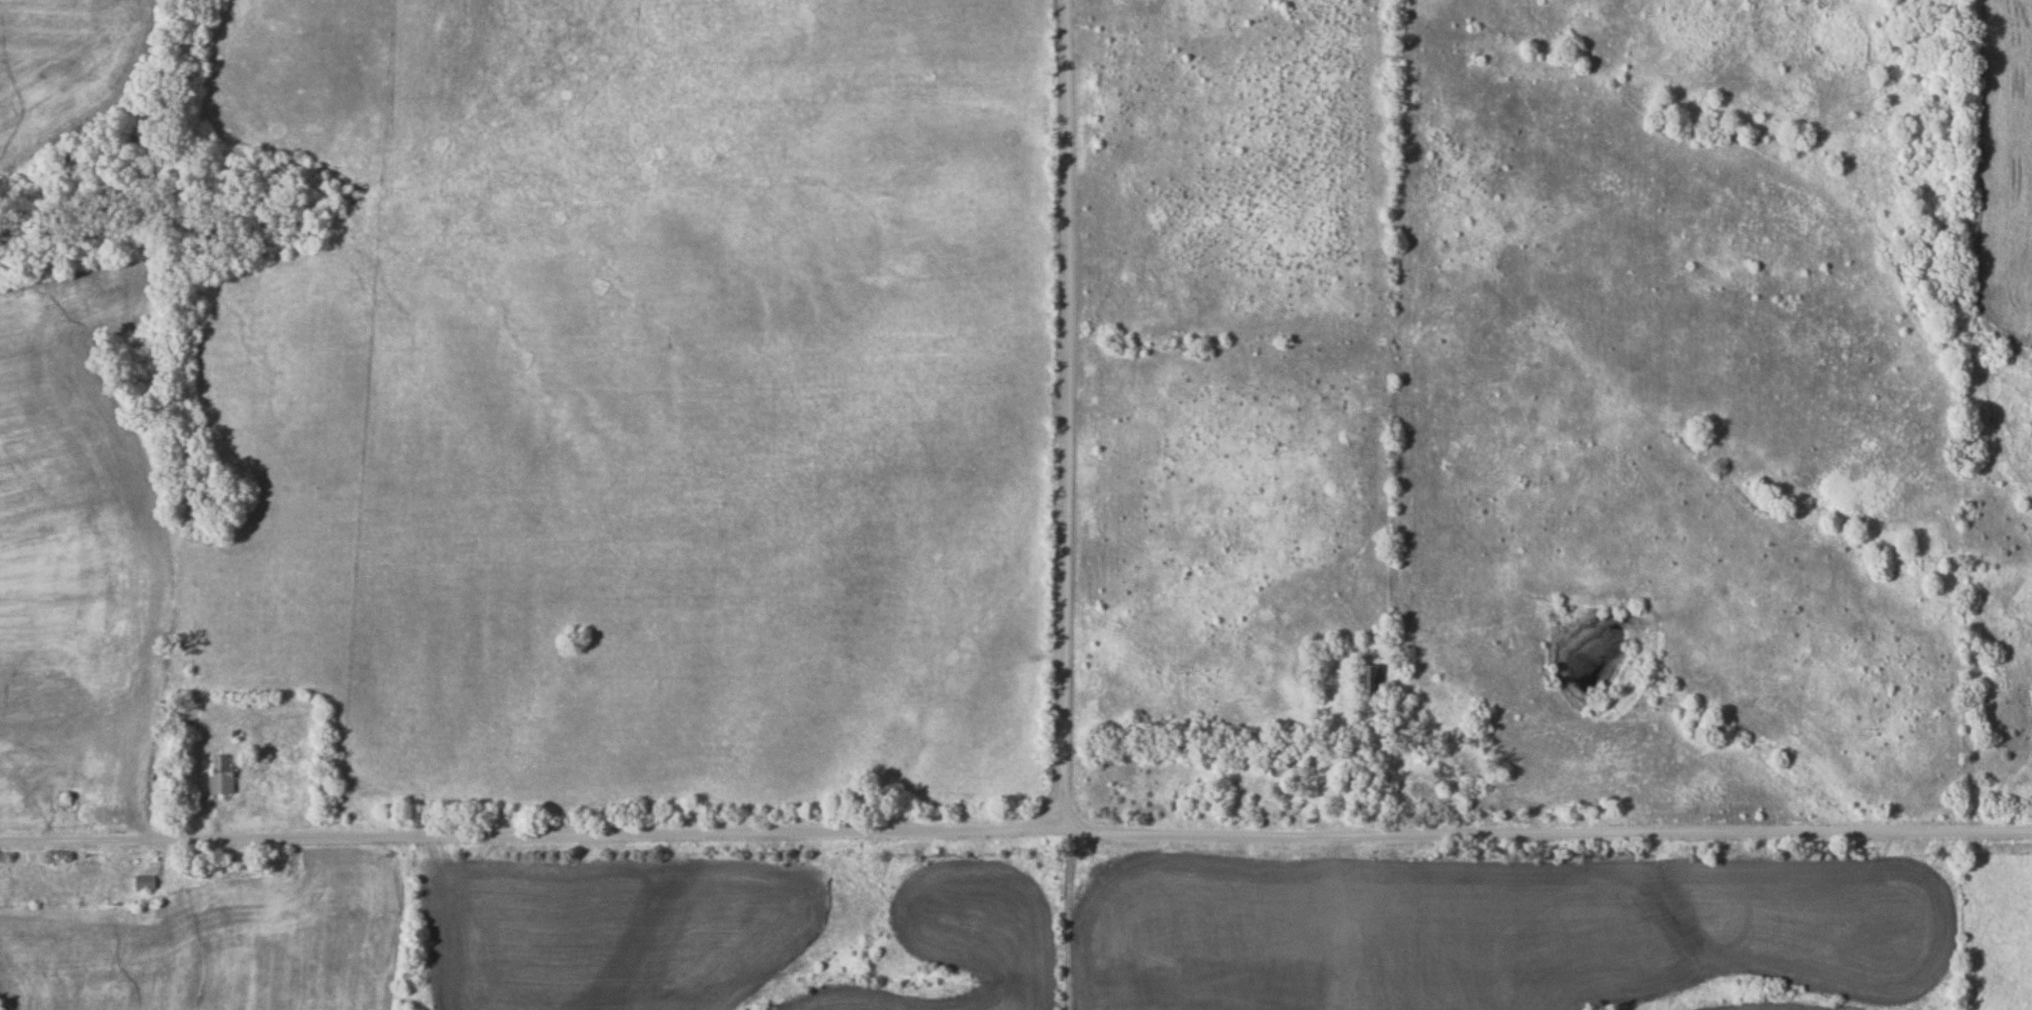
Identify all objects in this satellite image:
road: (1070, 415)
building: (223, 775)
building: (64, 801)
road: (1553, 837)
road: (538, 838)
building: (147, 883)
road: (1074, 920)

